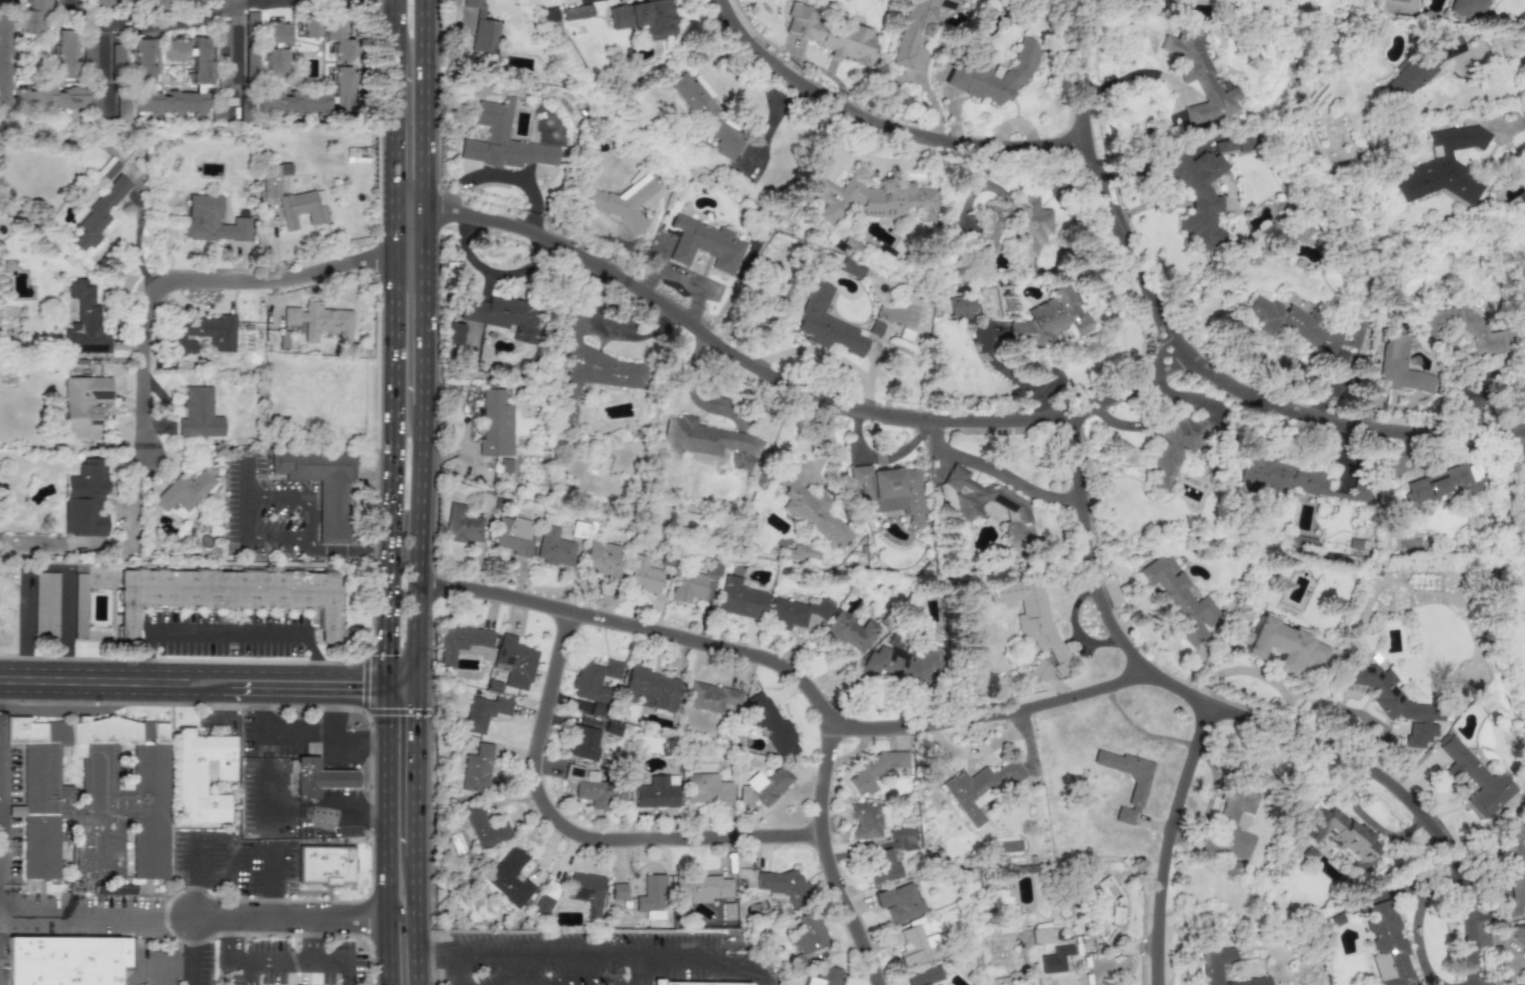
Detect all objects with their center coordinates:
building: (124, 1)
building: (98, 2)
building: (154, 4)
road: (224, 5)
building: (1465, 7)
building: (576, 12)
building: (33, 15)
building: (251, 18)
building: (643, 18)
road: (164, 25)
building: (917, 26)
building: (309, 27)
road: (391, 31)
building: (275, 33)
building: (831, 35)
building: (338, 39)
road: (1493, 48)
building: (65, 54)
building: (191, 57)
building: (89, 59)
building: (143, 60)
building: (251, 61)
building: (275, 63)
road: (234, 65)
building: (1422, 66)
road: (108, 73)
building: (992, 75)
road: (916, 78)
building: (1197, 78)
building: (341, 87)
building: (34, 89)
building: (170, 102)
building: (292, 102)
building: (122, 108)
building: (218, 110)
building: (707, 117)
road: (427, 128)
road: (866, 130)
building: (501, 140)
building: (1244, 141)
road: (391, 146)
building: (357, 154)
building: (1443, 167)
building: (109, 168)
building: (1199, 193)
building: (292, 198)
building: (869, 199)
building: (621, 202)
building: (99, 214)
building: (211, 221)
building: (1033, 226)
building: (1297, 231)
building: (705, 244)
building: (850, 267)
road: (200, 281)
building: (960, 305)
building: (501, 315)
building: (1051, 318)
building: (318, 321)
building: (84, 322)
building: (826, 323)
building: (1301, 325)
building: (875, 327)
building: (1465, 329)
road: (425, 330)
building: (455, 333)
building: (203, 334)
road: (1169, 353)
building: (1400, 366)
building: (589, 369)
road: (773, 392)
building: (84, 405)
building: (198, 414)
building: (494, 424)
building: (1519, 435)
building: (708, 441)
building: (1173, 448)
road: (387, 456)
road: (997, 473)
building: (1278, 475)
building: (1445, 483)
building: (322, 487)
building: (184, 491)
building: (887, 491)
building: (1359, 493)
road: (306, 497)
building: (485, 500)
building: (85, 501)
building: (809, 504)
building: (969, 513)
building: (462, 524)
building: (513, 535)
road: (418, 543)
building: (553, 547)
road: (283, 550)
building: (800, 553)
building: (601, 558)
road: (47, 566)
building: (642, 575)
building: (688, 586)
building: (227, 594)
building: (1179, 598)
building: (739, 599)
building: (45, 605)
building: (80, 605)
building: (793, 613)
building: (1030, 615)
building: (849, 632)
road: (226, 633)
building: (463, 644)
building: (1283, 646)
road: (147, 657)
road: (316, 659)
road: (287, 661)
building: (513, 661)
building: (898, 665)
building: (593, 679)
road: (786, 681)
road: (165, 682)
road: (399, 683)
road: (357, 684)
building: (649, 687)
building: (710, 696)
building: (1399, 703)
building: (597, 708)
road: (385, 710)
building: (483, 712)
building: (770, 724)
road: (1229, 725)
building: (610, 726)
road: (321, 737)
building: (581, 742)
road: (258, 758)
building: (476, 768)
building: (873, 769)
road: (419, 770)
building: (202, 776)
building: (306, 777)
building: (337, 778)
gas station: (337, 778)
building: (1473, 778)
building: (766, 785)
building: (978, 787)
building: (706, 788)
building: (594, 789)
building: (1136, 790)
building: (655, 791)
building: (94, 795)
building: (1233, 810)
building: (865, 820)
building: (485, 827)
building: (896, 832)
building: (1342, 836)
road: (565, 841)
road: (1162, 847)
road: (819, 859)
road: (388, 860)
building: (325, 864)
road: (371, 865)
building: (881, 865)
building: (510, 877)
road: (272, 881)
building: (784, 886)
building: (699, 889)
building: (585, 891)
building: (618, 891)
building: (651, 897)
building: (544, 898)
building: (898, 902)
road: (96, 917)
road: (292, 919)
road: (411, 921)
building: (1094, 926)
building: (808, 933)
building: (1041, 935)
road: (228, 939)
road: (312, 940)
building: (917, 946)
building: (1386, 946)
road: (401, 947)
road: (439, 950)
road: (193, 951)
road: (619, 953)
road: (431, 957)
parking lot: (574, 958)
building: (66, 960)
road: (298, 960)
road: (466, 968)
road: (645, 969)
building: (1212, 970)
road: (227, 972)
road: (247, 972)
building: (824, 976)
building: (923, 976)
building: (694, 983)

